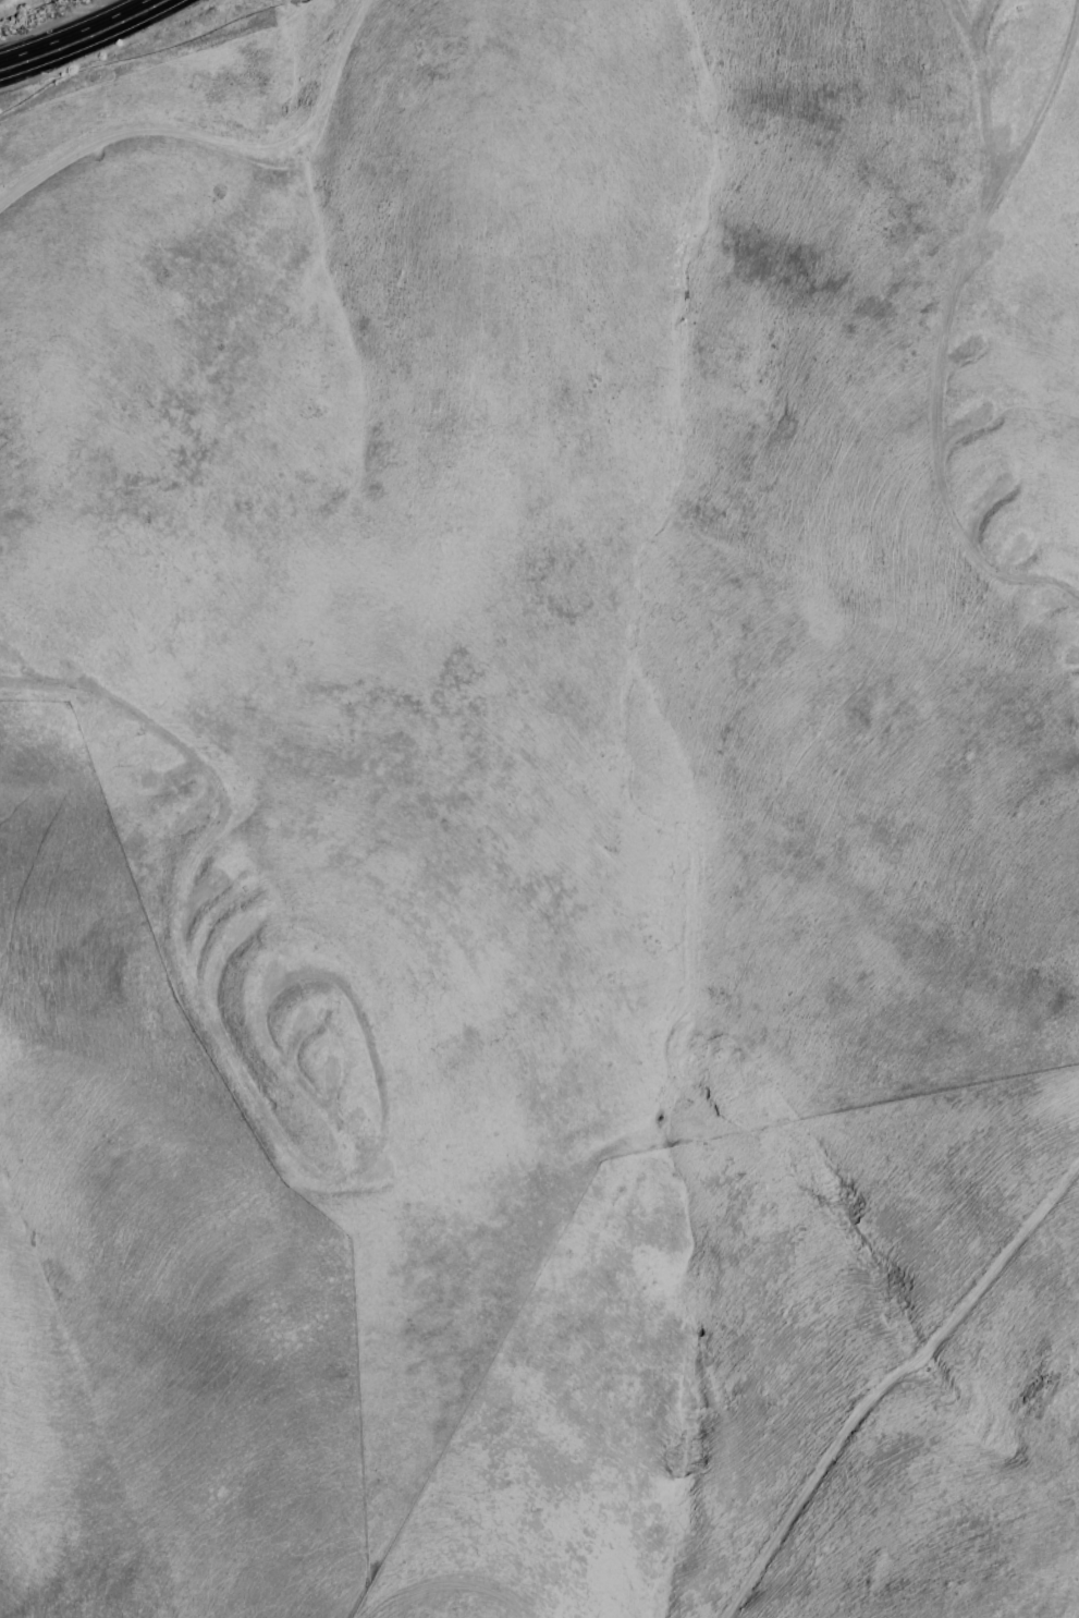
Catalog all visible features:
road: (100, 32)
road: (16, 63)
road: (214, 151)
road: (63, 698)

